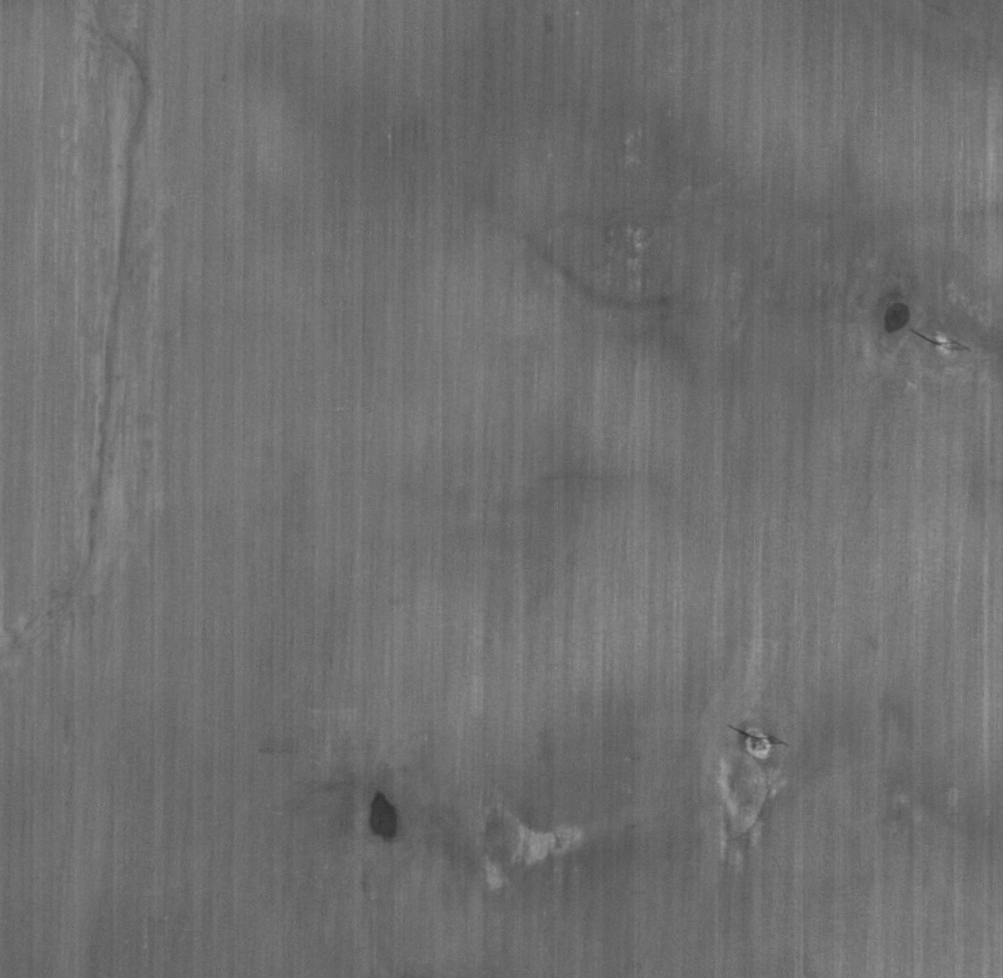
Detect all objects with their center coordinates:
power tower: (942, 346)
power tower: (757, 742)

